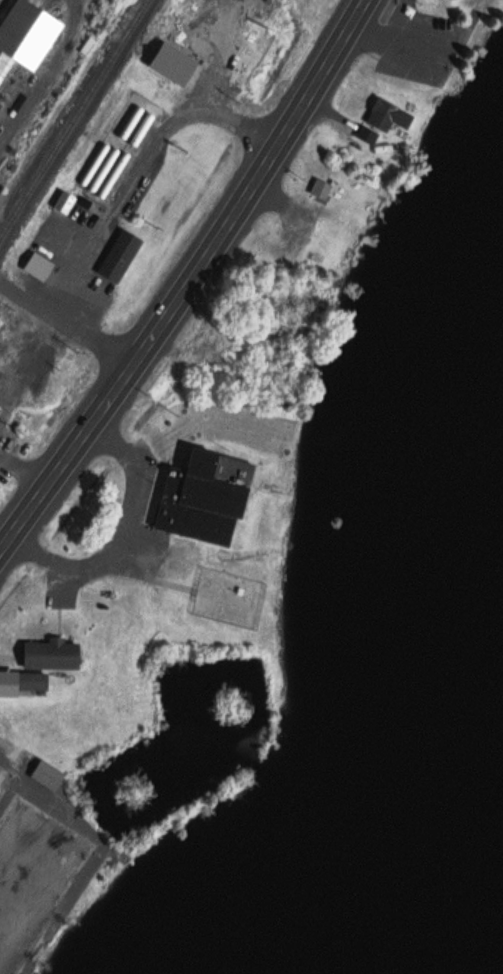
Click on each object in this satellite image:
building: (454, 0)
building: (26, 36)
building: (390, 116)
railway: (75, 119)
building: (372, 140)
road: (139, 169)
building: (323, 190)
building: (65, 200)
building: (121, 254)
building: (39, 264)
road: (188, 279)
road: (67, 323)
road: (29, 363)
road: (23, 472)
building: (200, 494)
road: (115, 537)
building: (53, 652)
building: (33, 679)
building: (49, 773)

